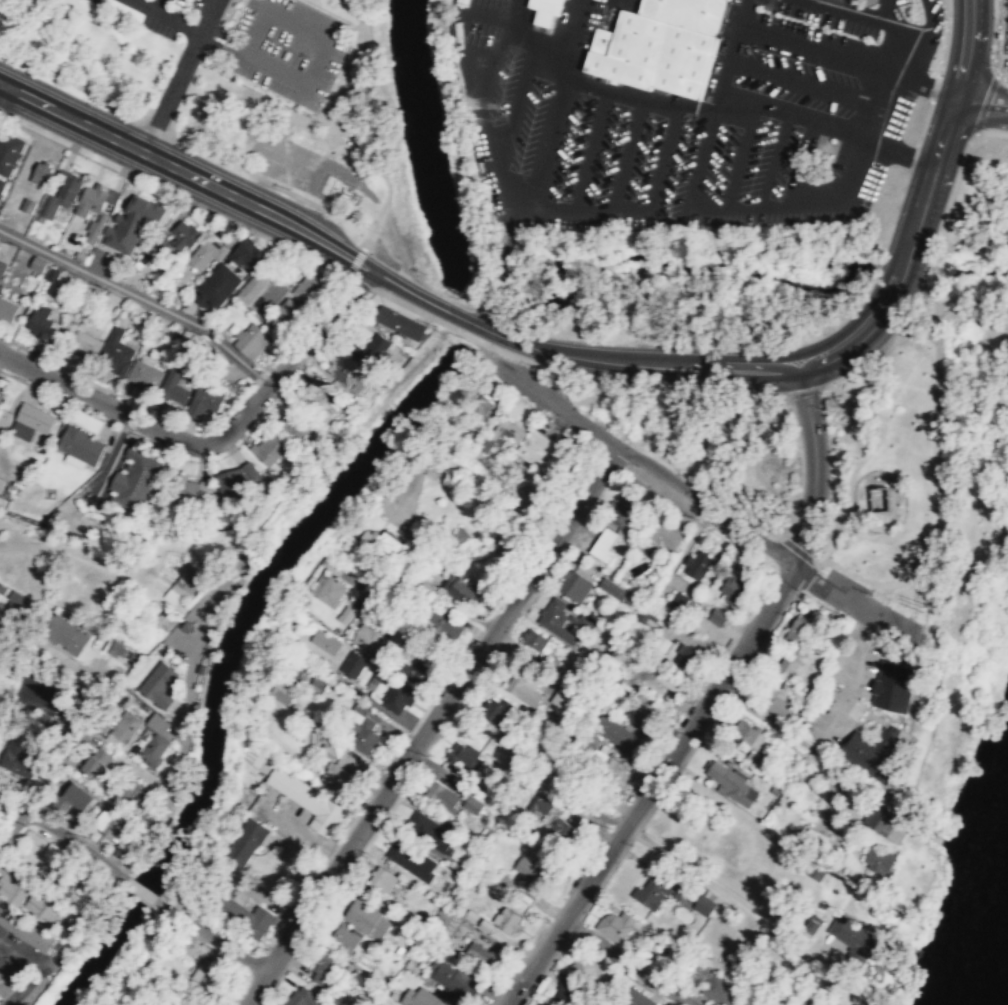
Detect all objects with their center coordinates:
parking lot: (93, 1)
street lamp: (363, 2)
building: (461, 4)
road: (158, 6)
parking lot: (184, 6)
building: (545, 6)
road: (512, 10)
street lamp: (182, 11)
road: (272, 14)
road: (540, 14)
road: (165, 16)
road: (871, 17)
road: (927, 17)
street lamp: (948, 18)
parking lot: (156, 26)
road: (503, 34)
road: (225, 35)
road: (945, 37)
road: (992, 38)
road: (568, 39)
road: (552, 40)
building: (660, 45)
road: (805, 45)
road: (219, 46)
parking lot: (287, 49)
road: (969, 49)
street lamp: (209, 50)
road: (727, 54)
road: (915, 56)
street lamp: (374, 58)
street lamp: (994, 65)
road: (178, 75)
road: (789, 75)
road: (296, 78)
road: (912, 80)
road: (1001, 80)
road: (1, 85)
road: (76, 85)
street lamp: (159, 88)
road: (934, 88)
road: (639, 95)
street lamp: (95, 103)
street lamp: (246, 103)
road: (980, 103)
road: (984, 103)
street lamp: (369, 110)
road: (480, 112)
road: (160, 114)
road: (361, 117)
road: (826, 125)
street lamp: (987, 129)
road: (509, 132)
street lamp: (191, 149)
road: (590, 150)
road: (903, 151)
building: (9, 153)
road: (627, 153)
road: (739, 156)
road: (774, 159)
road: (241, 166)
street lamp: (385, 166)
building: (40, 172)
road: (186, 172)
street lamp: (137, 176)
building: (2, 185)
road: (173, 195)
building: (60, 196)
building: (90, 200)
road: (724, 205)
road: (578, 210)
street lamp: (326, 215)
road: (349, 216)
road: (108, 217)
building: (133, 223)
street lamp: (233, 223)
building: (185, 234)
road: (367, 238)
building: (206, 253)
building: (247, 253)
road: (927, 260)
building: (37, 262)
road: (354, 262)
building: (2, 266)
building: (57, 283)
building: (311, 285)
building: (218, 286)
building: (253, 288)
street lamp: (370, 290)
road: (140, 297)
road: (955, 304)
building: (7, 309)
building: (283, 316)
road: (306, 319)
building: (39, 321)
building: (398, 323)
road: (921, 334)
building: (252, 340)
building: (84, 342)
building: (371, 349)
building: (116, 352)
road: (509, 353)
building: (218, 364)
road: (739, 370)
building: (349, 373)
building: (144, 375)
street lamp: (492, 376)
road: (905, 380)
building: (177, 382)
road: (804, 389)
building: (316, 399)
building: (204, 401)
building: (35, 417)
road: (793, 419)
road: (690, 422)
building: (297, 428)
building: (22, 430)
building: (504, 434)
park: (935, 439)
park: (703, 440)
road: (212, 442)
building: (80, 445)
building: (269, 449)
building: (539, 451)
road: (864, 456)
street lamp: (210, 458)
road: (641, 460)
road: (752, 460)
road: (815, 466)
street lamp: (618, 467)
building: (136, 479)
building: (236, 479)
building: (5, 488)
building: (190, 488)
building: (881, 498)
road: (939, 509)
building: (623, 511)
building: (414, 530)
building: (657, 538)
building: (382, 541)
building: (603, 546)
road: (63, 549)
building: (696, 563)
street lamp: (766, 572)
building: (190, 574)
building: (573, 586)
building: (732, 588)
building: (460, 589)
building: (612, 589)
building: (328, 590)
road: (853, 601)
building: (676, 604)
building: (15, 605)
power tower: (921, 606)
road: (367, 608)
street lamp: (837, 612)
building: (346, 614)
building: (647, 616)
building: (718, 616)
building: (163, 619)
building: (443, 620)
building: (563, 620)
building: (0, 626)
road: (425, 627)
building: (799, 630)
building: (63, 634)
building: (396, 634)
building: (367, 637)
building: (325, 641)
building: (535, 642)
building: (661, 642)
building: (406, 644)
building: (685, 657)
building: (351, 663)
building: (787, 664)
building: (555, 666)
building: (416, 671)
building: (376, 679)
building: (672, 682)
building: (159, 684)
building: (892, 686)
building: (523, 691)
building: (397, 697)
building: (781, 698)
building: (560, 699)
building: (494, 710)
building: (642, 712)
road: (429, 723)
building: (124, 728)
building: (362, 730)
building: (748, 733)
building: (615, 734)
building: (331, 746)
building: (154, 748)
building: (871, 749)
building: (12, 755)
building: (464, 756)
building: (253, 757)
building: (755, 761)
road: (174, 778)
building: (116, 780)
building: (337, 780)
building: (731, 783)
road: (650, 786)
building: (442, 796)
building: (307, 800)
building: (72, 802)
building: (539, 804)
building: (470, 807)
building: (412, 818)
building: (882, 820)
building: (109, 826)
building: (563, 830)
building: (434, 832)
road: (55, 833)
building: (244, 842)
building: (412, 860)
building: (878, 861)
building: (528, 868)
road: (120, 876)
building: (381, 879)
building: (61, 882)
building: (14, 890)
road: (139, 890)
building: (658, 890)
street lamp: (175, 897)
building: (703, 905)
building: (39, 908)
road: (79, 916)
building: (246, 916)
building: (368, 918)
building: (507, 919)
building: (447, 920)
building: (616, 925)
building: (25, 929)
road: (209, 937)
building: (852, 937)
building: (344, 938)
road: (24, 947)
building: (479, 952)
road: (628, 962)
building: (587, 968)
building: (327, 971)
building: (207, 976)
building: (449, 976)
building: (5, 977)
building: (703, 978)
building: (567, 993)
building: (304, 997)
building: (422, 997)
building: (635, 998)
building: (860, 999)
building: (179, 1002)
building: (798, 1004)

